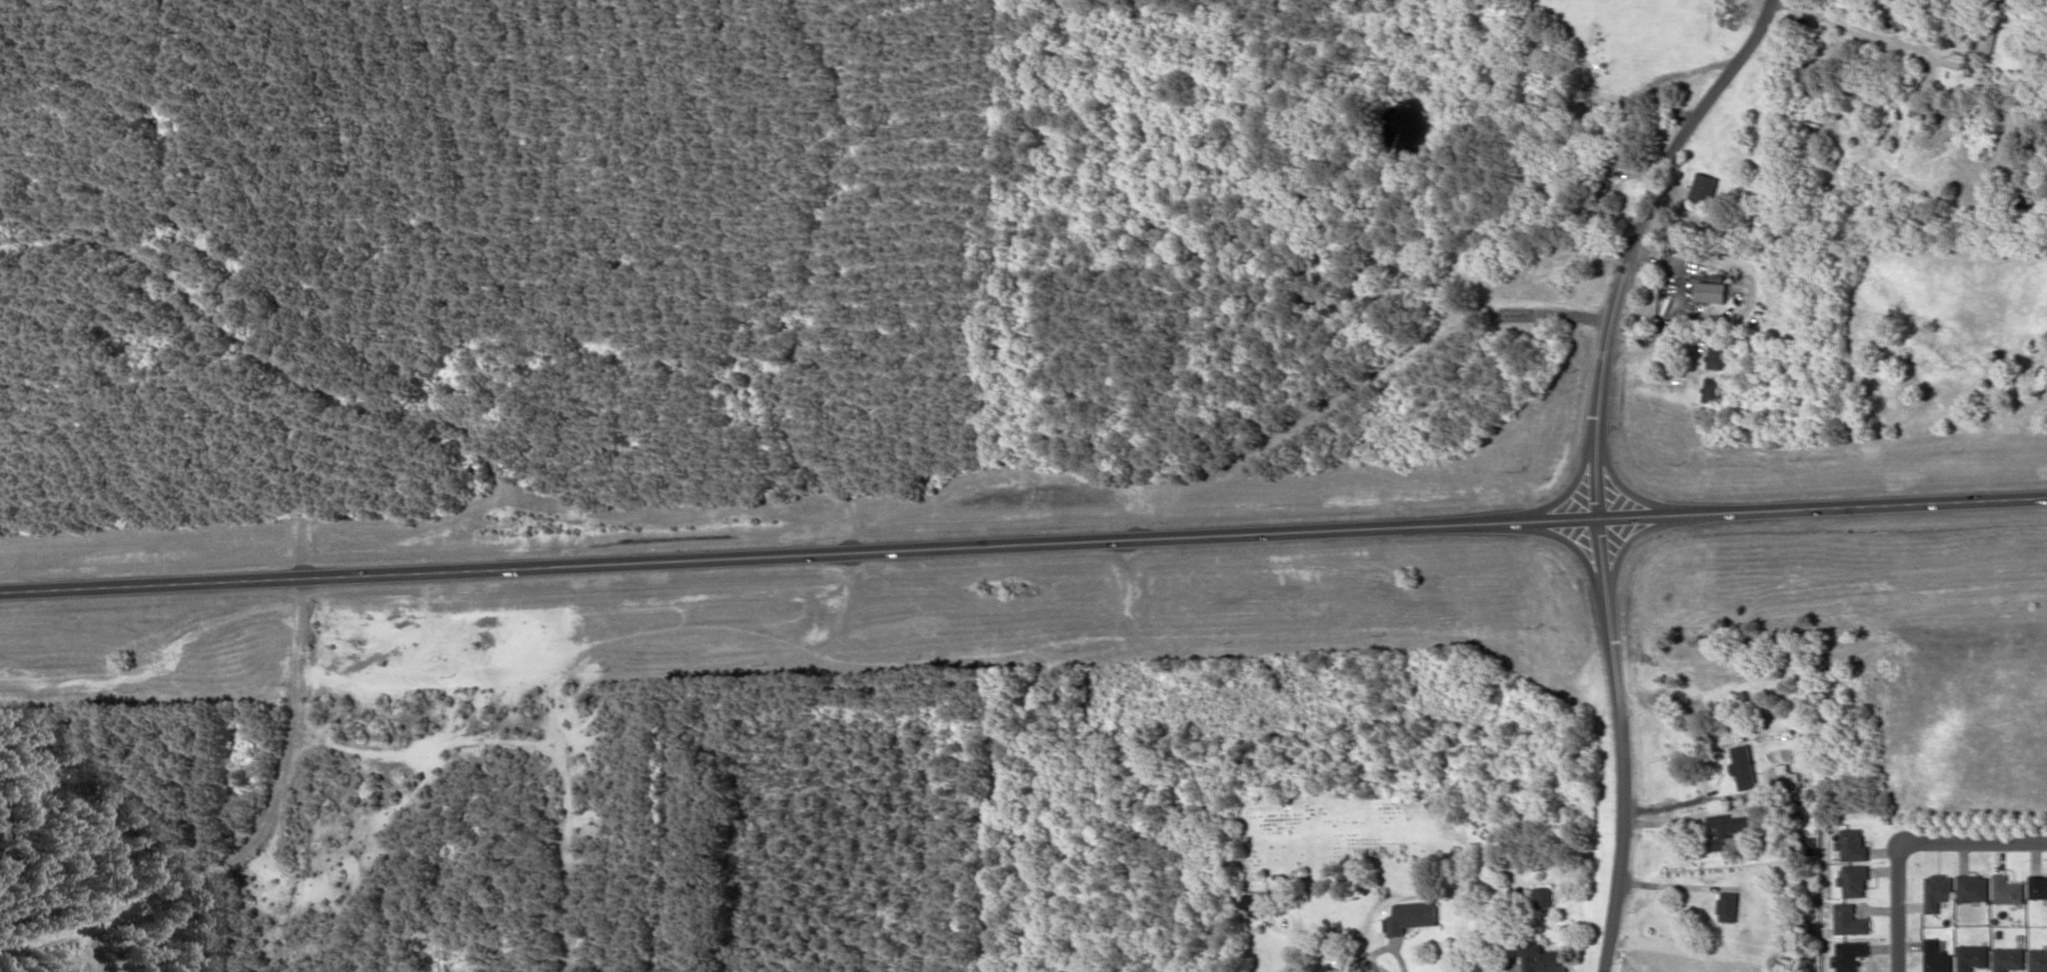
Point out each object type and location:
building: (1632, 113)
building: (1704, 187)
building: (1711, 291)
building: (1716, 354)
building: (1711, 389)
road: (1598, 465)
road: (1023, 545)
building: (1743, 766)
building: (1780, 773)
building: (1727, 828)
road: (1910, 843)
building: (1851, 844)
building: (1810, 845)
building: (1852, 880)
building: (2037, 886)
building: (1972, 888)
building: (2007, 890)
building: (1936, 891)
building: (1544, 896)
building: (1252, 902)
building: (1727, 905)
building: (1410, 916)
building: (1848, 919)
building: (1849, 955)
building: (1935, 957)
building: (1971, 957)
building: (1543, 958)
building: (2008, 958)
building: (2037, 960)
building: (1325, 970)

